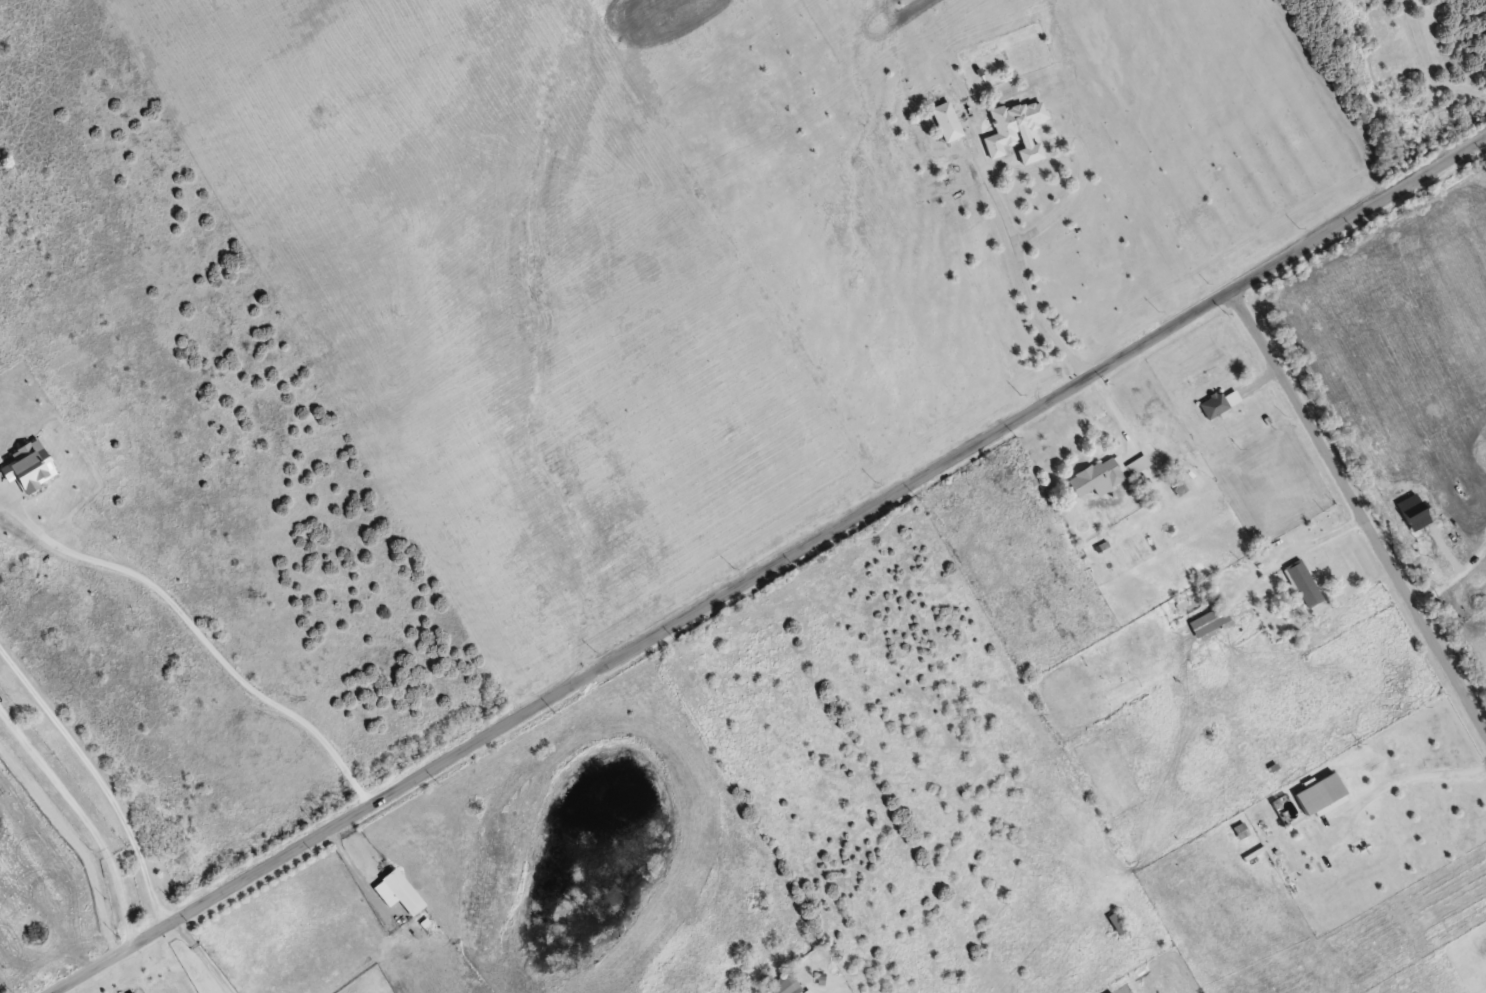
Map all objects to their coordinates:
building: (946, 121)
building: (1015, 129)
building: (1136, 465)
building: (1095, 478)
building: (1142, 482)
building: (1176, 484)
road: (1357, 514)
road: (771, 569)
building: (1302, 583)
building: (1208, 621)
building: (1318, 794)
building: (398, 887)
building: (1115, 923)
building: (784, 984)
building: (130, 992)

